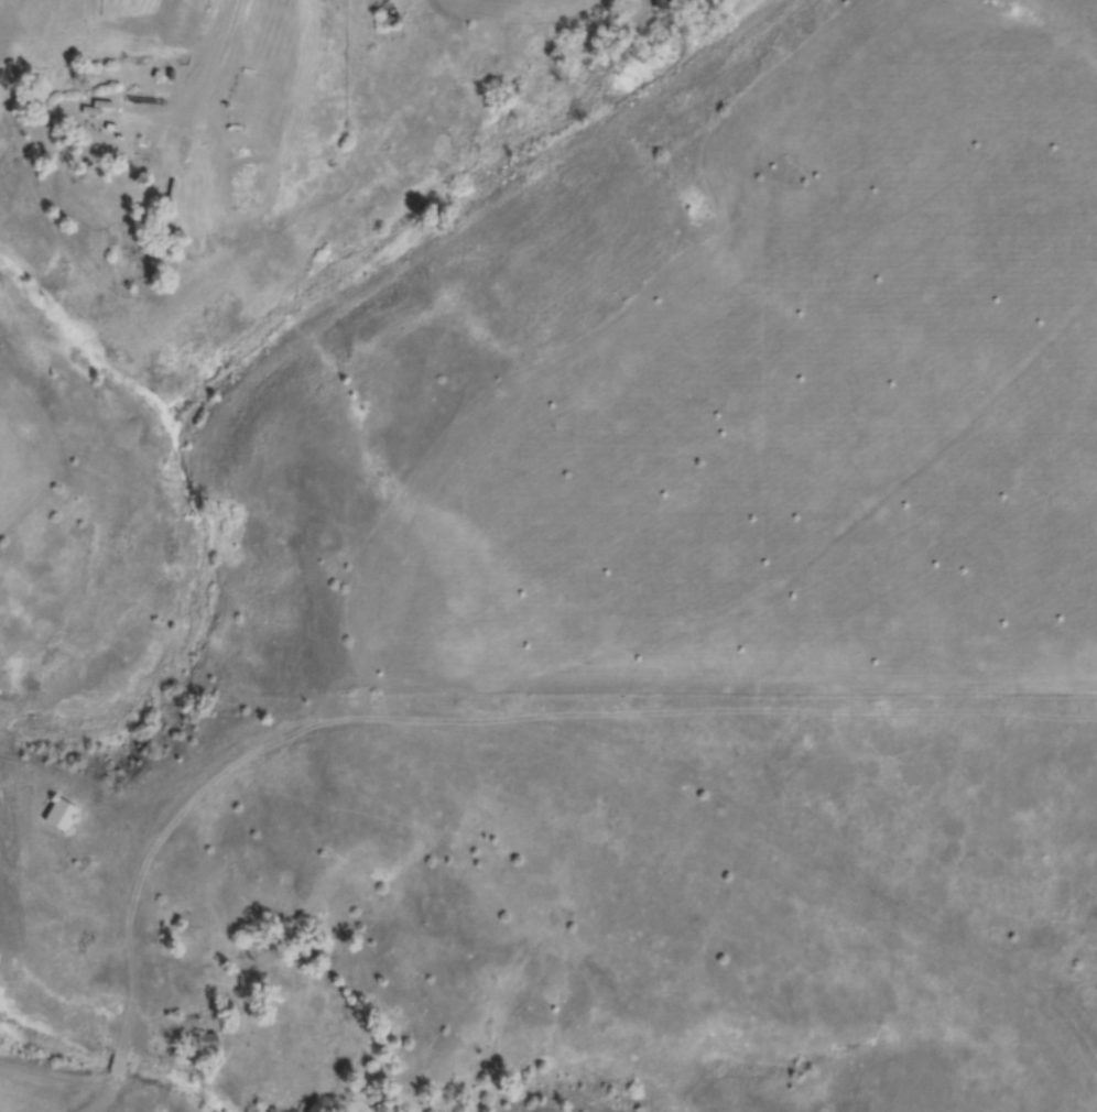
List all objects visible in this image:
road: (194, 64)
building: (62, 817)
building: (200, 1039)

